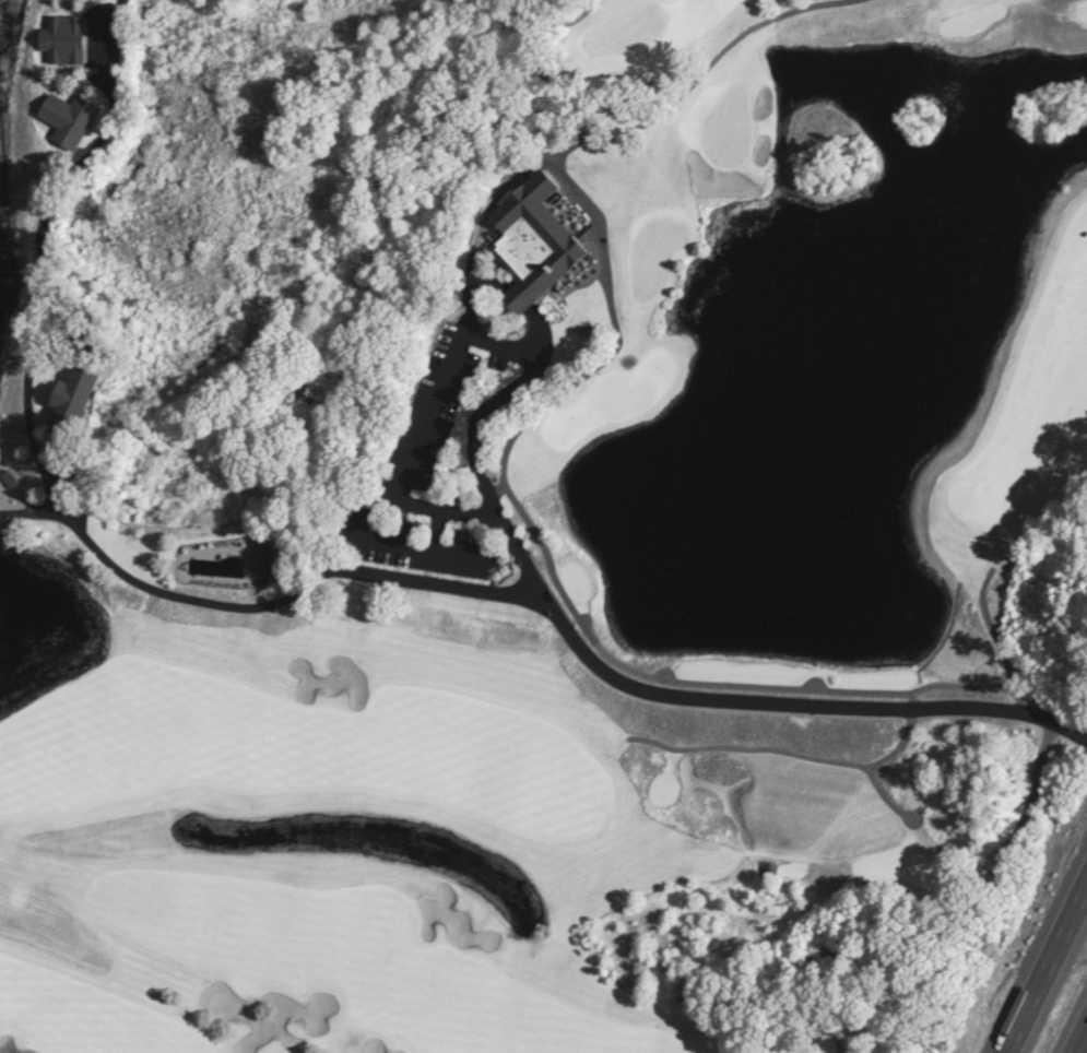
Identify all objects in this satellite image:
road: (743, 32)
building: (58, 39)
road: (535, 44)
road: (569, 110)
building: (64, 120)
road: (574, 130)
park: (725, 130)
road: (564, 144)
road: (491, 201)
building: (529, 245)
road: (35, 246)
park: (653, 257)
road: (518, 299)
road: (462, 331)
road: (581, 376)
parking lot: (436, 380)
building: (66, 403)
road: (406, 461)
road: (80, 464)
building: (5, 478)
road: (493, 488)
road: (27, 513)
park: (543, 526)
road: (385, 549)
building: (258, 557)
road: (433, 560)
road: (149, 601)
road: (235, 606)
road: (582, 623)
road: (986, 629)
road: (662, 672)
road: (811, 682)
road: (627, 684)
road: (700, 684)
road: (1016, 698)
road: (910, 700)
road: (648, 741)
road: (771, 749)
road: (666, 759)
road: (867, 766)
road: (871, 778)
road: (837, 816)
road: (791, 855)
road: (917, 925)
road: (1043, 961)
road: (806, 1016)
road: (1078, 1034)

